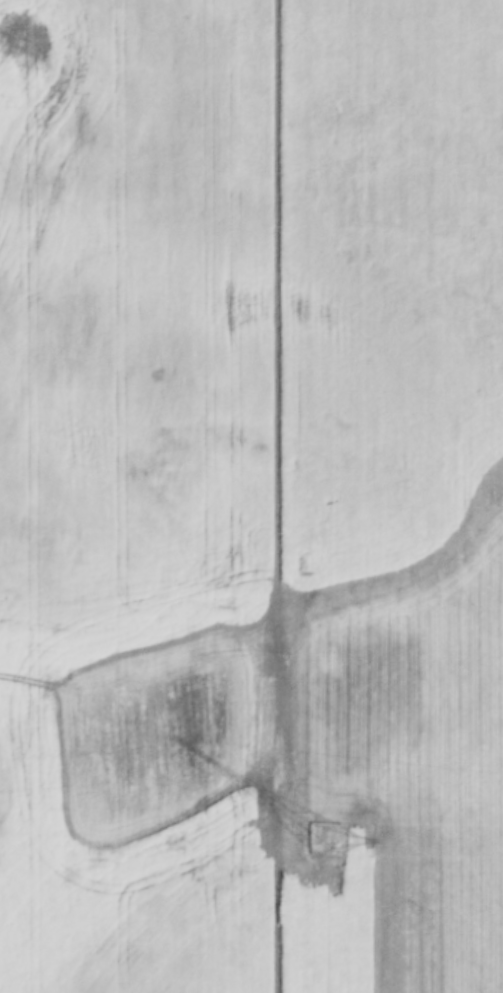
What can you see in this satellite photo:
power tower: (327, 837)

